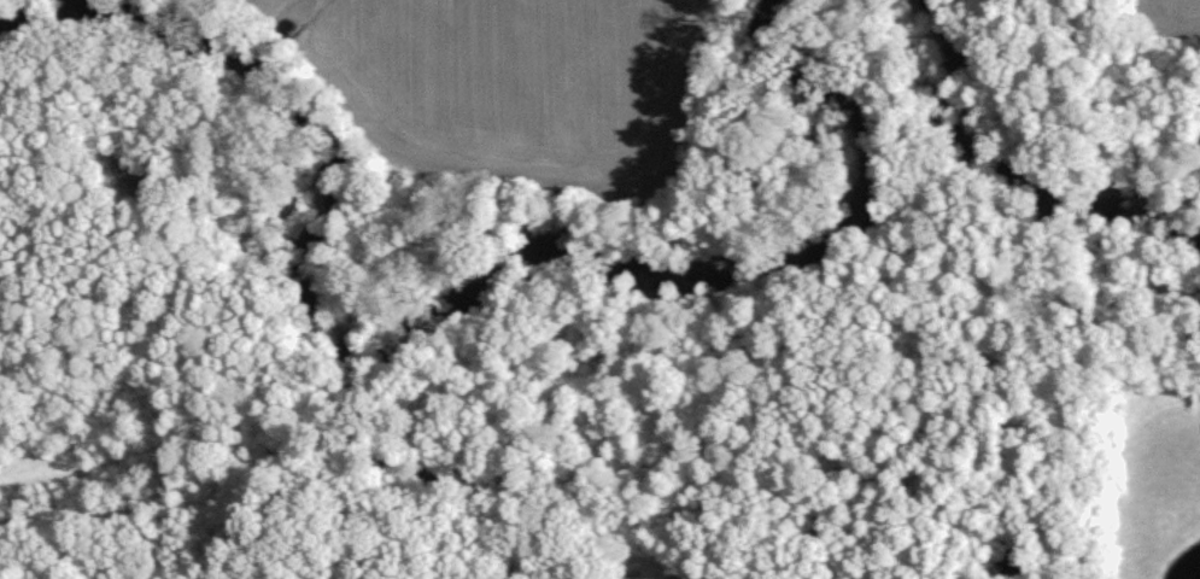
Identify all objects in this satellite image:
crop: (1164, 31)
crop: (466, 76)

